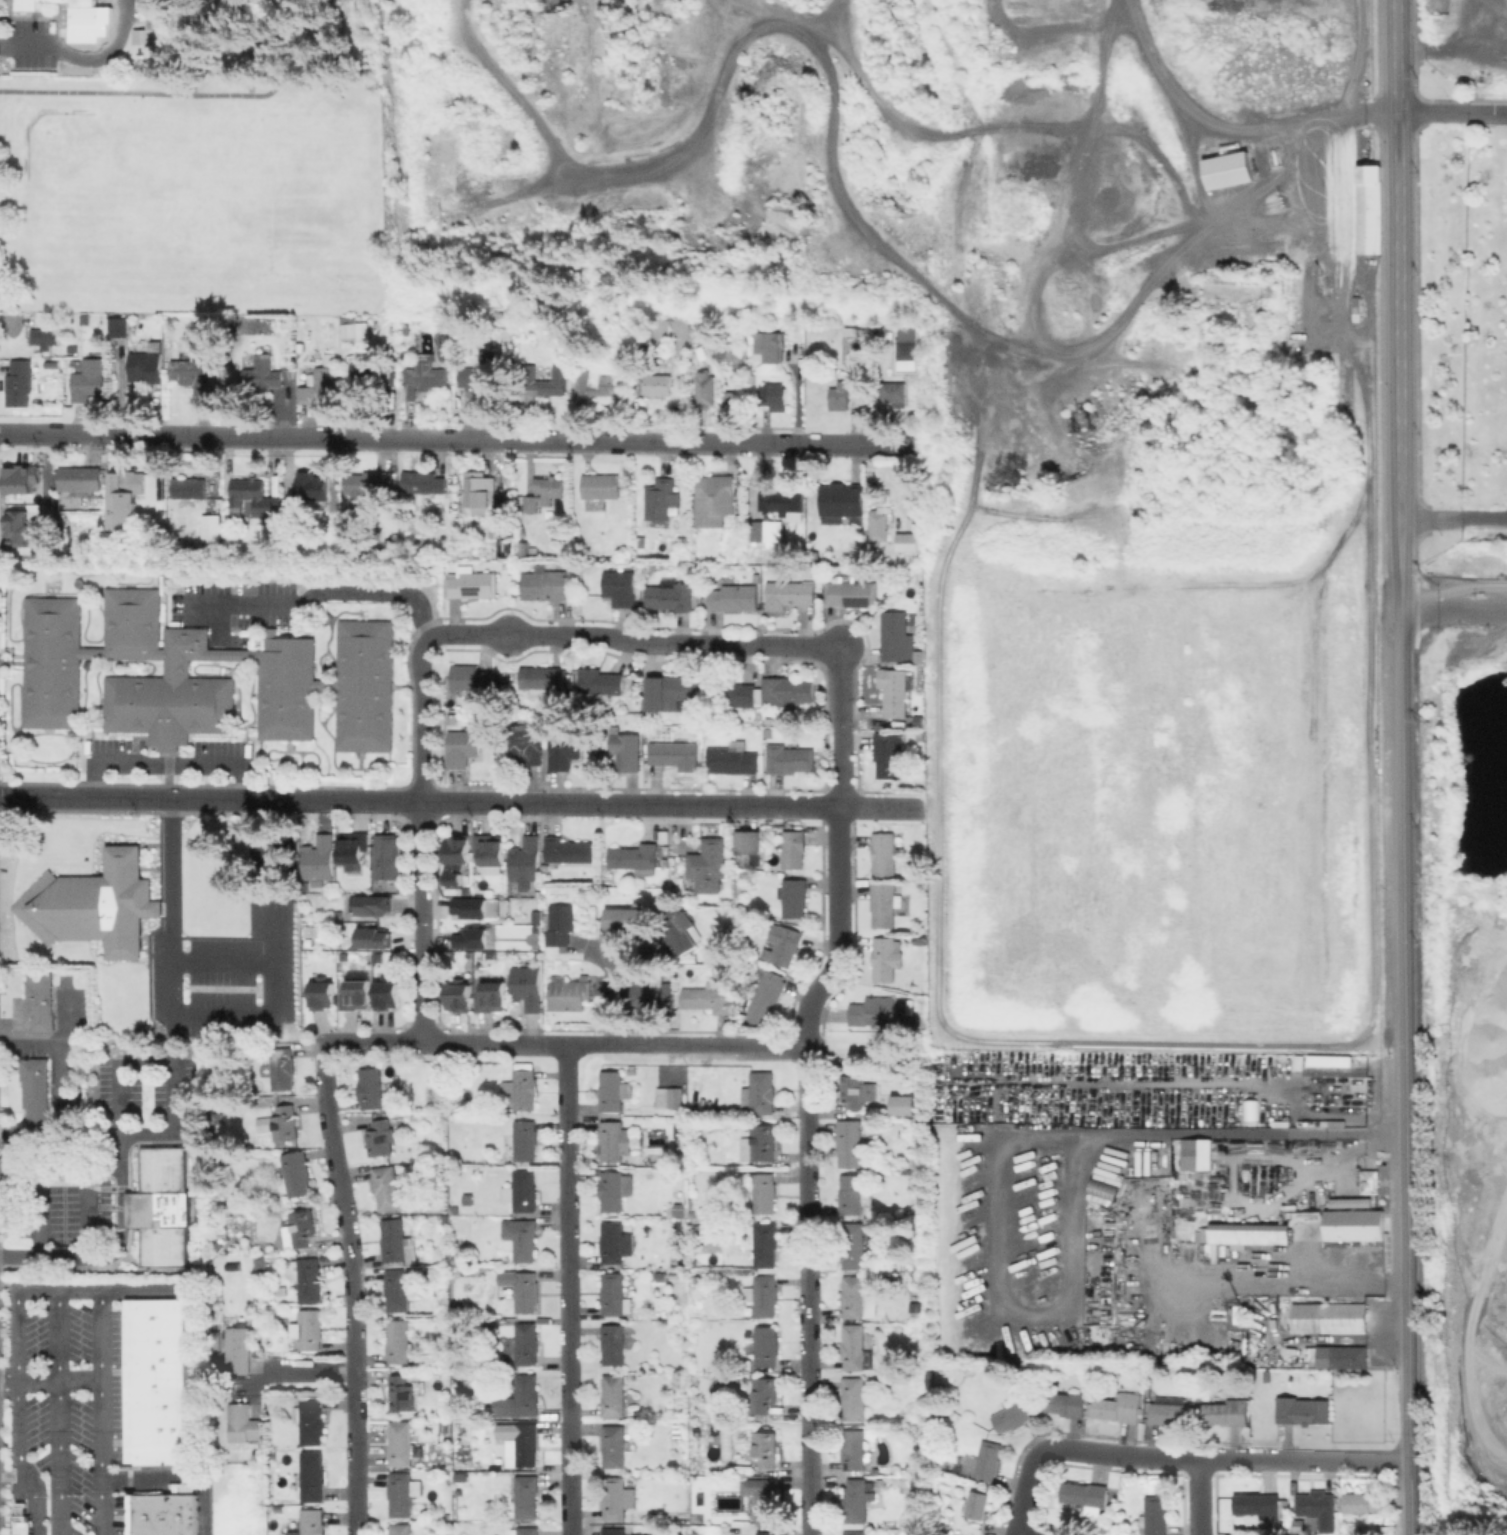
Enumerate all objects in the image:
building: (71, 9)
road: (272, 33)
building: (147, 34)
quarry: (1462, 50)
road: (83, 57)
road: (148, 93)
road: (1452, 111)
road: (1302, 118)
park: (205, 169)
building: (1229, 169)
building: (1370, 208)
building: (1315, 287)
road: (1398, 288)
building: (85, 320)
building: (119, 326)
building: (263, 326)
building: (406, 328)
building: (354, 329)
building: (702, 331)
building: (649, 336)
building: (44, 338)
building: (909, 342)
building: (851, 345)
building: (771, 347)
rooftop solar panel: (852, 348)
building: (146, 365)
building: (492, 370)
building: (424, 372)
building: (362, 373)
building: (910, 374)
building: (227, 375)
building: (194, 376)
building: (262, 376)
building: (467, 376)
building: (530, 379)
building: (752, 379)
building: (88, 380)
building: (20, 382)
building: (321, 382)
building: (598, 383)
building: (656, 384)
building: (705, 387)
building: (894, 391)
building: (772, 394)
building: (839, 396)
building: (730, 398)
road: (456, 437)
building: (18, 477)
building: (80, 479)
building: (133, 482)
building: (423, 483)
building: (312, 486)
building: (369, 486)
building: (601, 486)
building: (187, 489)
building: (482, 490)
building: (545, 492)
building: (661, 498)
building: (714, 499)
building: (255, 501)
building: (842, 501)
building: (784, 502)
road: (1454, 518)
building: (879, 524)
building: (17, 528)
building: (211, 528)
building: (766, 530)
building: (495, 531)
building: (411, 537)
building: (640, 541)
building: (907, 542)
building: (389, 544)
building: (522, 549)
building: (532, 550)
building: (471, 582)
building: (545, 584)
building: (620, 587)
rooftop solar panel: (472, 588)
road: (324, 590)
building: (851, 592)
building: (789, 594)
building: (671, 595)
building: (733, 597)
rooftop solar panel: (857, 600)
road: (552, 633)
building: (898, 639)
building: (54, 663)
building: (288, 669)
building: (471, 678)
building: (544, 679)
building: (600, 681)
building: (503, 683)
building: (895, 690)
building: (786, 691)
building: (673, 693)
building: (730, 694)
building: (539, 713)
building: (919, 718)
building: (453, 719)
building: (768, 720)
building: (921, 733)
building: (525, 743)
building: (463, 748)
building: (625, 749)
building: (563, 750)
building: (889, 753)
building: (675, 754)
building: (789, 758)
building: (731, 760)
road: (175, 764)
landfill: (1151, 793)
road: (269, 800)
road: (732, 805)
building: (749, 841)
building: (354, 847)
building: (794, 848)
building: (457, 849)
building: (490, 850)
building: (568, 850)
road: (840, 851)
building: (884, 853)
building: (387, 857)
building: (635, 857)
building: (320, 859)
building: (526, 860)
building: (709, 864)
building: (743, 874)
building: (467, 892)
building: (793, 897)
building: (884, 903)
building: (95, 904)
building: (373, 906)
building: (478, 908)
building: (536, 916)
building: (624, 918)
road: (423, 922)
building: (561, 924)
building: (680, 934)
building: (375, 938)
building: (472, 941)
building: (918, 942)
building: (724, 943)
building: (783, 944)
building: (885, 958)
road: (226, 964)
building: (528, 987)
building: (388, 992)
building: (323, 994)
building: (569, 994)
building: (356, 996)
building: (766, 996)
building: (459, 997)
building: (653, 997)
building: (707, 998)
building: (41, 999)
building: (493, 999)
building: (909, 1006)
building: (873, 1009)
quarry: (1466, 1011)
road: (226, 1020)
building: (143, 1032)
road: (566, 1045)
road: (867, 1050)
road: (1406, 1056)
road: (181, 1062)
building: (282, 1068)
road: (56, 1087)
building: (371, 1087)
building: (523, 1088)
building: (36, 1090)
building: (611, 1090)
building: (1335, 1090)
building: (854, 1091)
building: (760, 1092)
building: (672, 1098)
building: (905, 1105)
building: (286, 1123)
building: (381, 1137)
building: (653, 1137)
building: (525, 1139)
building: (614, 1141)
building: (680, 1141)
building: (850, 1142)
building: (759, 1143)
building: (1194, 1154)
building: (296, 1173)
building: (1367, 1181)
building: (387, 1187)
building: (615, 1188)
building: (522, 1190)
building: (1100, 1191)
building: (764, 1193)
building: (853, 1194)
building: (467, 1198)
building: (162, 1205)
road: (1258, 1207)
building: (679, 1209)
road: (91, 1220)
road: (46, 1221)
building: (678, 1222)
building: (1351, 1224)
building: (300, 1229)
building: (1242, 1233)
building: (520, 1238)
building: (394, 1239)
building: (612, 1242)
building: (766, 1244)
building: (853, 1245)
road: (116, 1251)
building: (456, 1259)
building: (660, 1276)
building: (307, 1278)
building: (697, 1278)
road: (1241, 1278)
building: (467, 1286)
building: (401, 1288)
road: (356, 1289)
building: (521, 1289)
road: (568, 1290)
building: (280, 1291)
road: (810, 1292)
building: (615, 1294)
building: (763, 1295)
road: (190, 1296)
building: (853, 1296)
building: (1238, 1311)
building: (914, 1315)
building: (1330, 1318)
building: (310, 1329)
building: (215, 1339)
building: (400, 1341)
building: (527, 1343)
building: (613, 1343)
building: (766, 1345)
building: (855, 1347)
building: (238, 1348)
building: (1349, 1356)
building: (286, 1360)
road: (316, 1370)
building: (1267, 1374)
building: (154, 1381)
road: (50, 1383)
building: (763, 1392)
building: (402, 1393)
building: (298, 1394)
building: (614, 1395)
building: (854, 1397)
building: (520, 1398)
building: (1066, 1403)
building: (1120, 1407)
road: (100, 1410)
building: (1302, 1410)
road: (57, 1411)
building: (907, 1411)
building: (1226, 1412)
building: (1168, 1413)
road: (15, 1416)
building: (939, 1416)
building: (1012, 1417)
building: (310, 1420)
building: (242, 1422)
building: (444, 1426)
building: (401, 1442)
building: (711, 1442)
building: (726, 1443)
building: (523, 1445)
building: (614, 1445)
building: (696, 1445)
building: (765, 1447)
rooftop solar panel: (846, 1447)
building: (854, 1449)
road: (1123, 1454)
road: (1351, 1458)
building: (987, 1460)
rooftop solar panel: (845, 1468)
building: (313, 1475)
road: (177, 1477)
building: (458, 1491)
building: (403, 1493)
building: (524, 1494)
building: (1086, 1495)
road: (1198, 1496)
building: (614, 1497)
building: (762, 1498)
building: (856, 1499)
building: (1364, 1501)
road: (26, 1502)
building: (978, 1504)
building: (1259, 1505)
building: (1318, 1507)
building: (19, 1511)
building: (160, 1514)
building: (1155, 1515)
building: (447, 1516)
building: (313, 1521)
building: (1299, 1522)
building: (401, 1528)
building: (525, 1530)
building: (614, 1531)
building: (768, 1532)
building: (854, 1532)
building: (1301, 1532)

